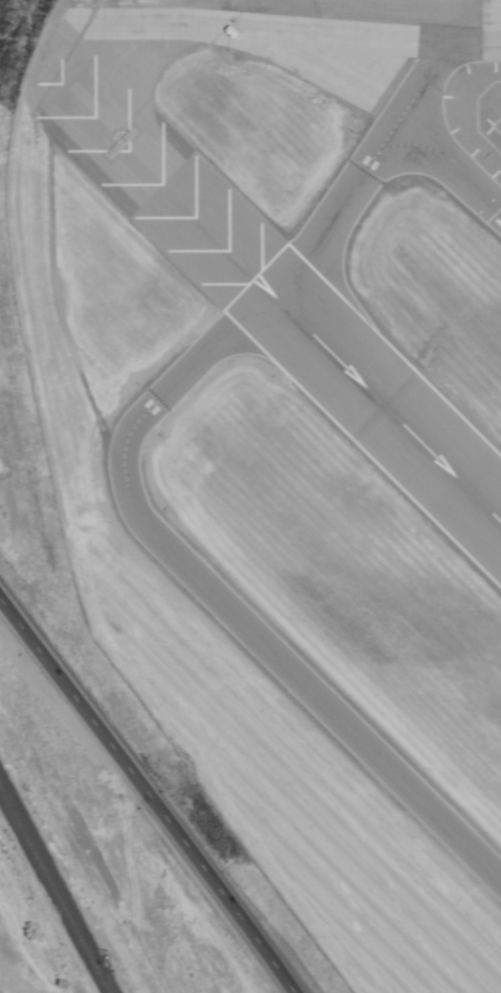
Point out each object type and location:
airport taxiway: (441, 60)
airport taxiway: (452, 161)
airport runway: (163, 187)
airport taxiway: (339, 205)
airport runway: (386, 410)
airport: (287, 431)
airport taxiway: (215, 600)
road: (148, 796)
railway: (54, 890)

